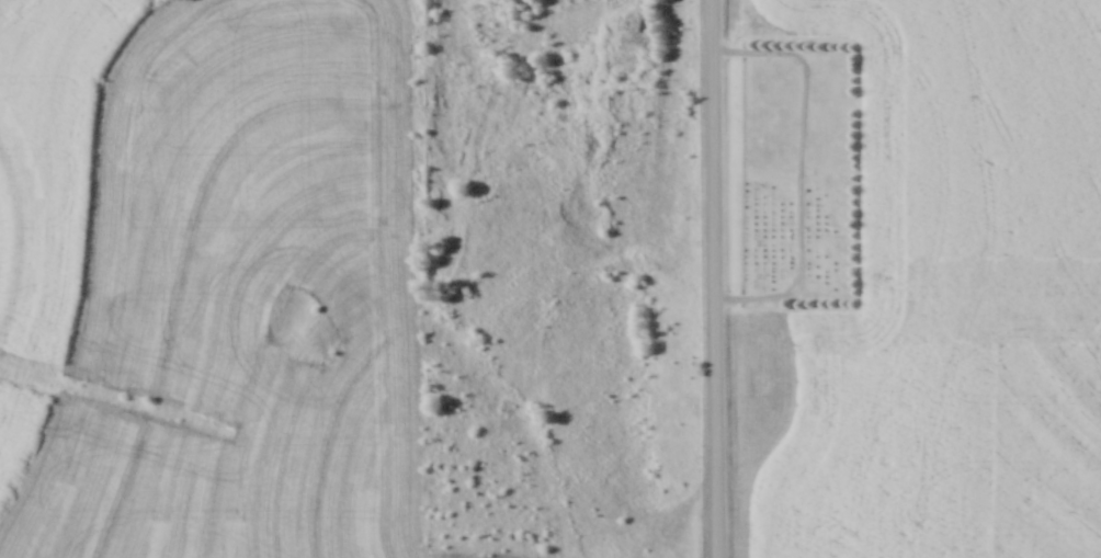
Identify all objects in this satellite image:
building: (632, 122)
park: (794, 170)
road: (712, 278)

